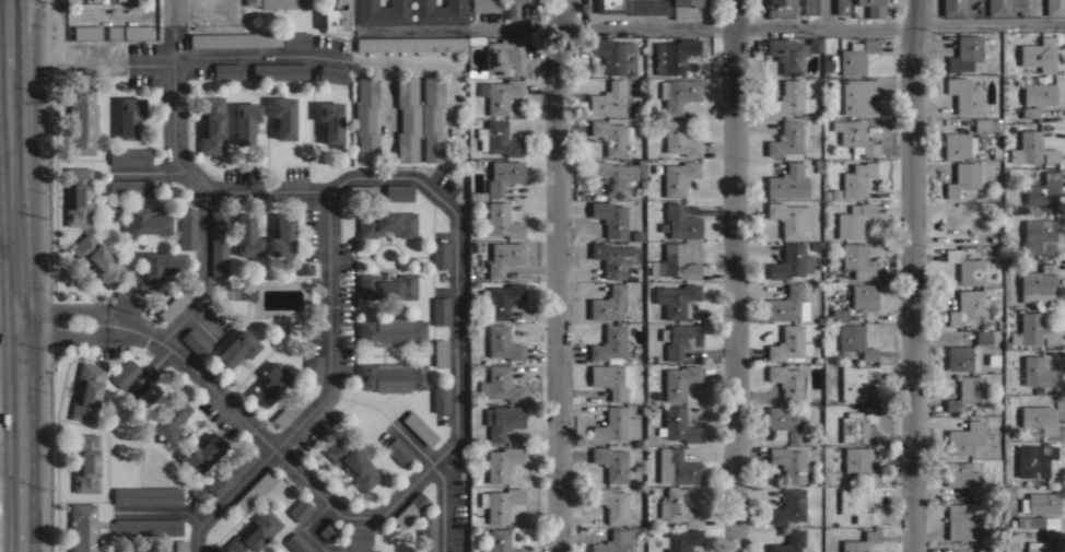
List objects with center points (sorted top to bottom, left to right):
building: (278, 2)
building: (485, 5)
building: (516, 7)
building: (648, 7)
building: (809, 7)
building: (841, 7)
building: (871, 7)
building: (686, 8)
building: (781, 8)
building: (952, 8)
building: (998, 8)
building: (1055, 8)
building: (605, 9)
road: (114, 12)
building: (382, 12)
building: (437, 12)
building: (336, 16)
road: (714, 26)
building: (86, 32)
building: (114, 32)
building: (137, 32)
building: (235, 39)
building: (295, 39)
building: (411, 43)
building: (814, 44)
building: (964, 52)
building: (787, 54)
building: (1039, 54)
road: (307, 55)
building: (613, 55)
building: (674, 55)
building: (504, 56)
building: (856, 57)
road: (151, 60)
building: (226, 71)
building: (279, 71)
building: (332, 73)
building: (679, 93)
building: (502, 95)
building: (963, 95)
building: (859, 96)
building: (1037, 97)
building: (789, 98)
building: (608, 99)
building: (129, 116)
building: (283, 116)
building: (407, 118)
building: (366, 119)
building: (432, 119)
building: (82, 120)
building: (330, 120)
building: (246, 121)
building: (981, 124)
building: (211, 125)
building: (611, 136)
building: (854, 137)
building: (498, 139)
building: (680, 139)
building: (786, 141)
building: (958, 144)
building: (1034, 148)
building: (130, 156)
building: (503, 175)
building: (615, 175)
building: (679, 177)
building: (963, 178)
road: (189, 179)
building: (857, 179)
building: (788, 181)
building: (130, 187)
building: (1043, 189)
building: (398, 192)
building: (78, 196)
building: (112, 211)
building: (957, 216)
building: (610, 218)
building: (791, 218)
building: (502, 220)
building: (853, 220)
building: (148, 221)
building: (680, 222)
building: (387, 223)
building: (187, 227)
building: (1037, 234)
building: (282, 235)
building: (246, 236)
building: (982, 237)
building: (219, 242)
building: (821, 245)
building: (1048, 248)
building: (440, 255)
building: (504, 257)
building: (615, 258)
building: (100, 259)
building: (858, 260)
building: (677, 262)
building: (791, 262)
building: (304, 268)
building: (967, 268)
building: (157, 269)
road: (453, 270)
road: (20, 275)
road: (563, 275)
road: (735, 275)
road: (912, 275)
building: (1037, 284)
building: (386, 286)
building: (864, 295)
building: (501, 298)
building: (676, 298)
building: (126, 302)
building: (175, 304)
building: (608, 304)
building: (785, 304)
building: (965, 306)
road: (66, 310)
building: (440, 310)
building: (839, 315)
building: (1033, 330)
building: (391, 331)
road: (66, 333)
building: (983, 337)
building: (680, 339)
building: (196, 341)
building: (502, 342)
building: (854, 342)
building: (610, 343)
building: (788, 345)
building: (236, 349)
road: (11, 351)
building: (440, 352)
building: (959, 357)
building: (312, 368)
building: (1038, 372)
building: (125, 373)
building: (393, 376)
building: (611, 379)
building: (679, 381)
building: (788, 381)
building: (856, 381)
building: (272, 384)
building: (500, 385)
building: (965, 391)
building: (87, 392)
building: (147, 395)
road: (325, 397)
building: (440, 398)
road: (230, 409)
building: (289, 410)
building: (1039, 418)
building: (169, 419)
building: (503, 420)
building: (787, 422)
building: (679, 424)
building: (856, 424)
building: (616, 425)
building: (419, 428)
building: (964, 437)
building: (398, 451)
building: (203, 453)
building: (1034, 459)
road: (12, 462)
building: (85, 462)
building: (352, 462)
building: (502, 462)
building: (613, 462)
building: (788, 463)
building: (859, 463)
building: (677, 467)
building: (230, 472)
road: (438, 477)
building: (963, 477)
building: (254, 491)
building: (199, 493)
building: (148, 495)
building: (500, 503)
building: (858, 503)
building: (611, 504)
building: (678, 506)
building: (789, 506)
building: (411, 508)
building: (300, 509)
building: (1040, 510)
road: (157, 513)
building: (963, 520)
building: (148, 526)
road: (306, 527)
building: (83, 528)
building: (328, 531)
building: (254, 532)
building: (426, 533)
building: (358, 536)
building: (501, 540)
building: (680, 540)
building: (616, 541)
building: (788, 542)
building: (861, 542)
building: (297, 543)
building: (1045, 544)
building: (180, 545)
building: (984, 548)
building: (144, 549)

